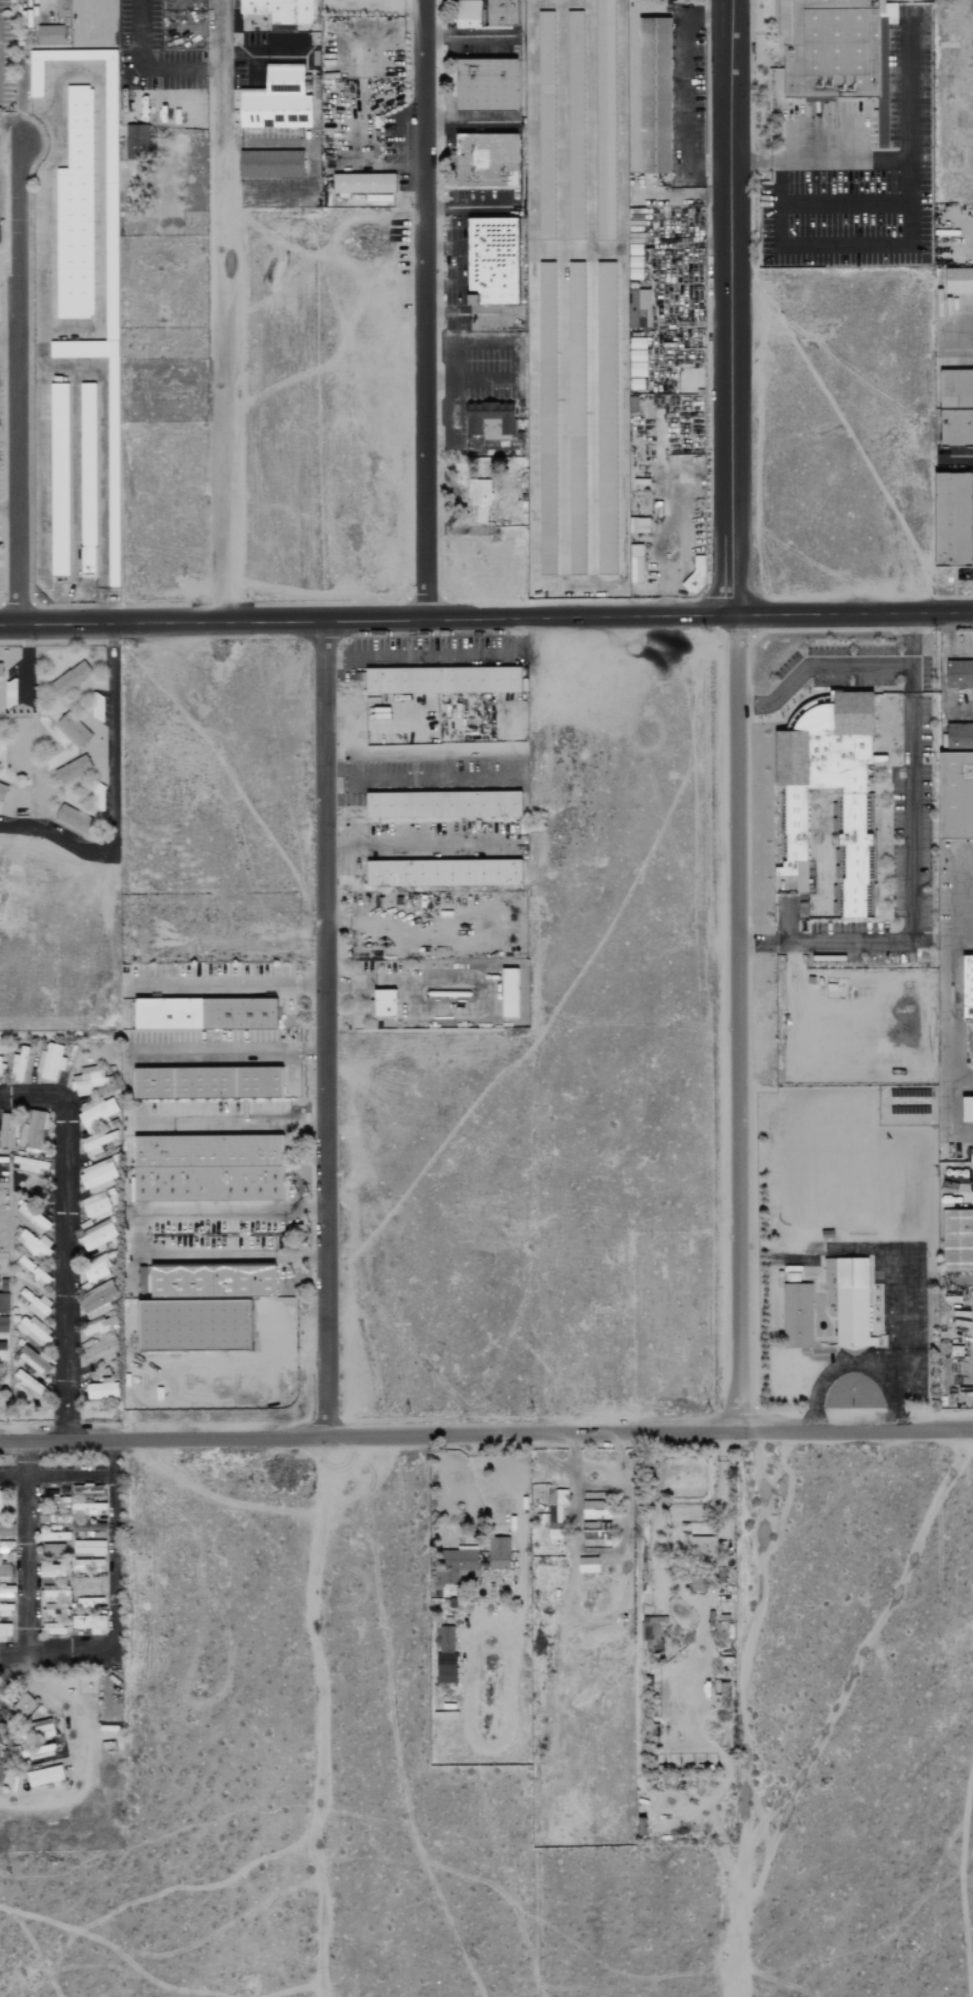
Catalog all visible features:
building: (62, 8)
building: (283, 10)
building: (502, 12)
building: (469, 14)
building: (50, 33)
road: (472, 36)
building: (828, 50)
road: (258, 52)
parking lot: (250, 61)
road: (148, 68)
road: (221, 72)
building: (885, 72)
building: (488, 84)
road: (685, 89)
building: (655, 95)
building: (278, 99)
building: (133, 154)
building: (487, 160)
road: (846, 162)
building: (272, 163)
road: (737, 163)
parking lot: (857, 170)
building: (366, 178)
road: (847, 203)
road: (909, 246)
building: (492, 262)
building: (959, 279)
road: (3, 281)
building: (578, 287)
building: (638, 306)
road: (727, 307)
road: (424, 310)
building: (75, 329)
parking lot: (959, 330)
road: (946, 333)
road: (9, 338)
road: (516, 354)
building: (637, 357)
road: (18, 378)
road: (449, 380)
road: (225, 383)
building: (956, 386)
building: (493, 419)
building: (956, 426)
road: (3, 441)
building: (481, 497)
road: (9, 508)
building: (953, 519)
building: (666, 555)
road: (2, 563)
road: (854, 612)
road: (368, 621)
parking lot: (427, 652)
road: (438, 654)
road: (843, 665)
building: (0, 670)
building: (959, 674)
building: (72, 677)
building: (424, 679)
building: (502, 679)
building: (74, 729)
building: (72, 770)
building: (2, 791)
building: (957, 795)
road: (113, 800)
building: (445, 802)
building: (829, 803)
building: (73, 818)
road: (411, 844)
building: (445, 872)
road: (914, 893)
road: (406, 983)
building: (968, 987)
building: (510, 993)
building: (385, 1003)
building: (240, 1013)
road: (736, 1022)
road: (324, 1029)
road: (231, 1052)
building: (49, 1062)
building: (18, 1065)
building: (87, 1081)
building: (210, 1083)
building: (968, 1108)
building: (97, 1112)
building: (7, 1130)
building: (33, 1133)
building: (96, 1143)
building: (210, 1150)
building: (29, 1164)
building: (98, 1176)
building: (210, 1182)
building: (95, 1206)
building: (32, 1217)
building: (98, 1235)
road: (66, 1236)
road: (141, 1237)
building: (958, 1239)
building: (32, 1243)
building: (96, 1269)
building: (32, 1272)
building: (214, 1280)
building: (3, 1295)
building: (97, 1300)
building: (852, 1304)
building: (34, 1305)
building: (798, 1314)
road: (901, 1320)
building: (3, 1324)
building: (100, 1325)
building: (33, 1330)
building: (2, 1344)
building: (97, 1355)
building: (33, 1361)
road: (854, 1363)
building: (30, 1385)
building: (102, 1389)
road: (486, 1434)
building: (87, 1500)
building: (555, 1514)
building: (596, 1520)
building: (89, 1528)
building: (2, 1529)
building: (704, 1546)
building: (88, 1547)
road: (26, 1549)
building: (52, 1550)
building: (498, 1553)
building: (588, 1564)
building: (458, 1565)
building: (51, 1570)
building: (46, 1581)
building: (698, 1584)
building: (55, 1591)
building: (87, 1601)
road: (113, 1606)
building: (55, 1608)
building: (5, 1610)
building: (89, 1623)
building: (52, 1628)
building: (652, 1628)
building: (5, 1631)
building: (446, 1639)
building: (446, 1668)
building: (23, 1705)
road: (744, 1712)
road: (320, 1717)
building: (0, 1718)
building: (36, 1732)
building: (36, 1751)
building: (2, 1774)
building: (44, 1776)

